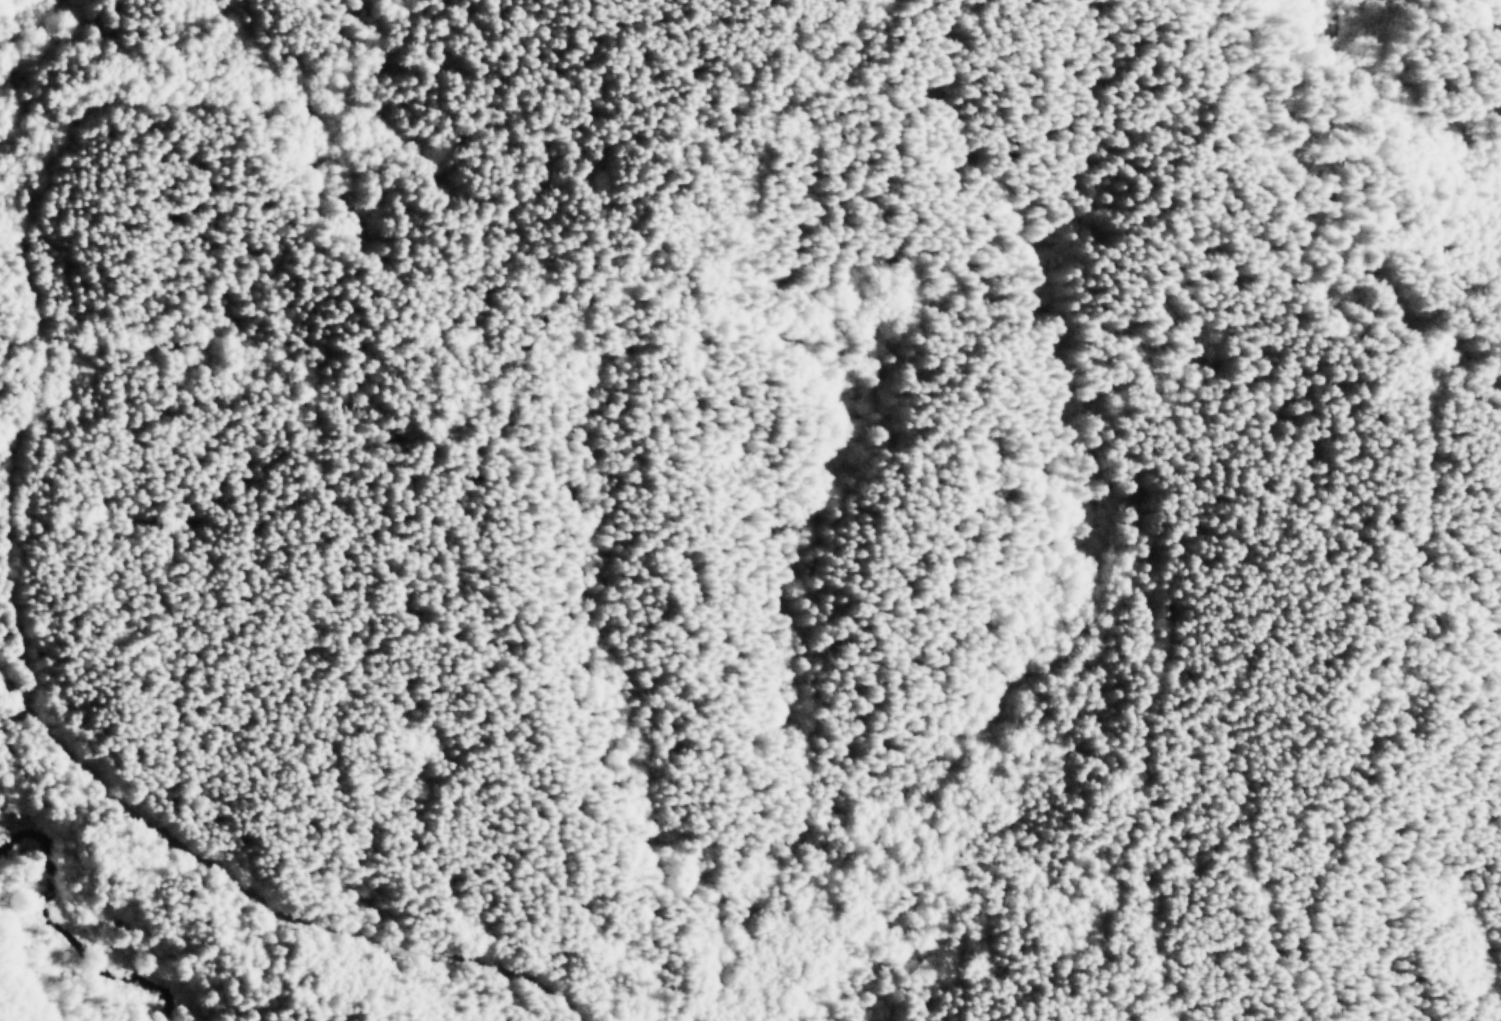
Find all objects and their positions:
road: (1360, 191)
road: (256, 832)

